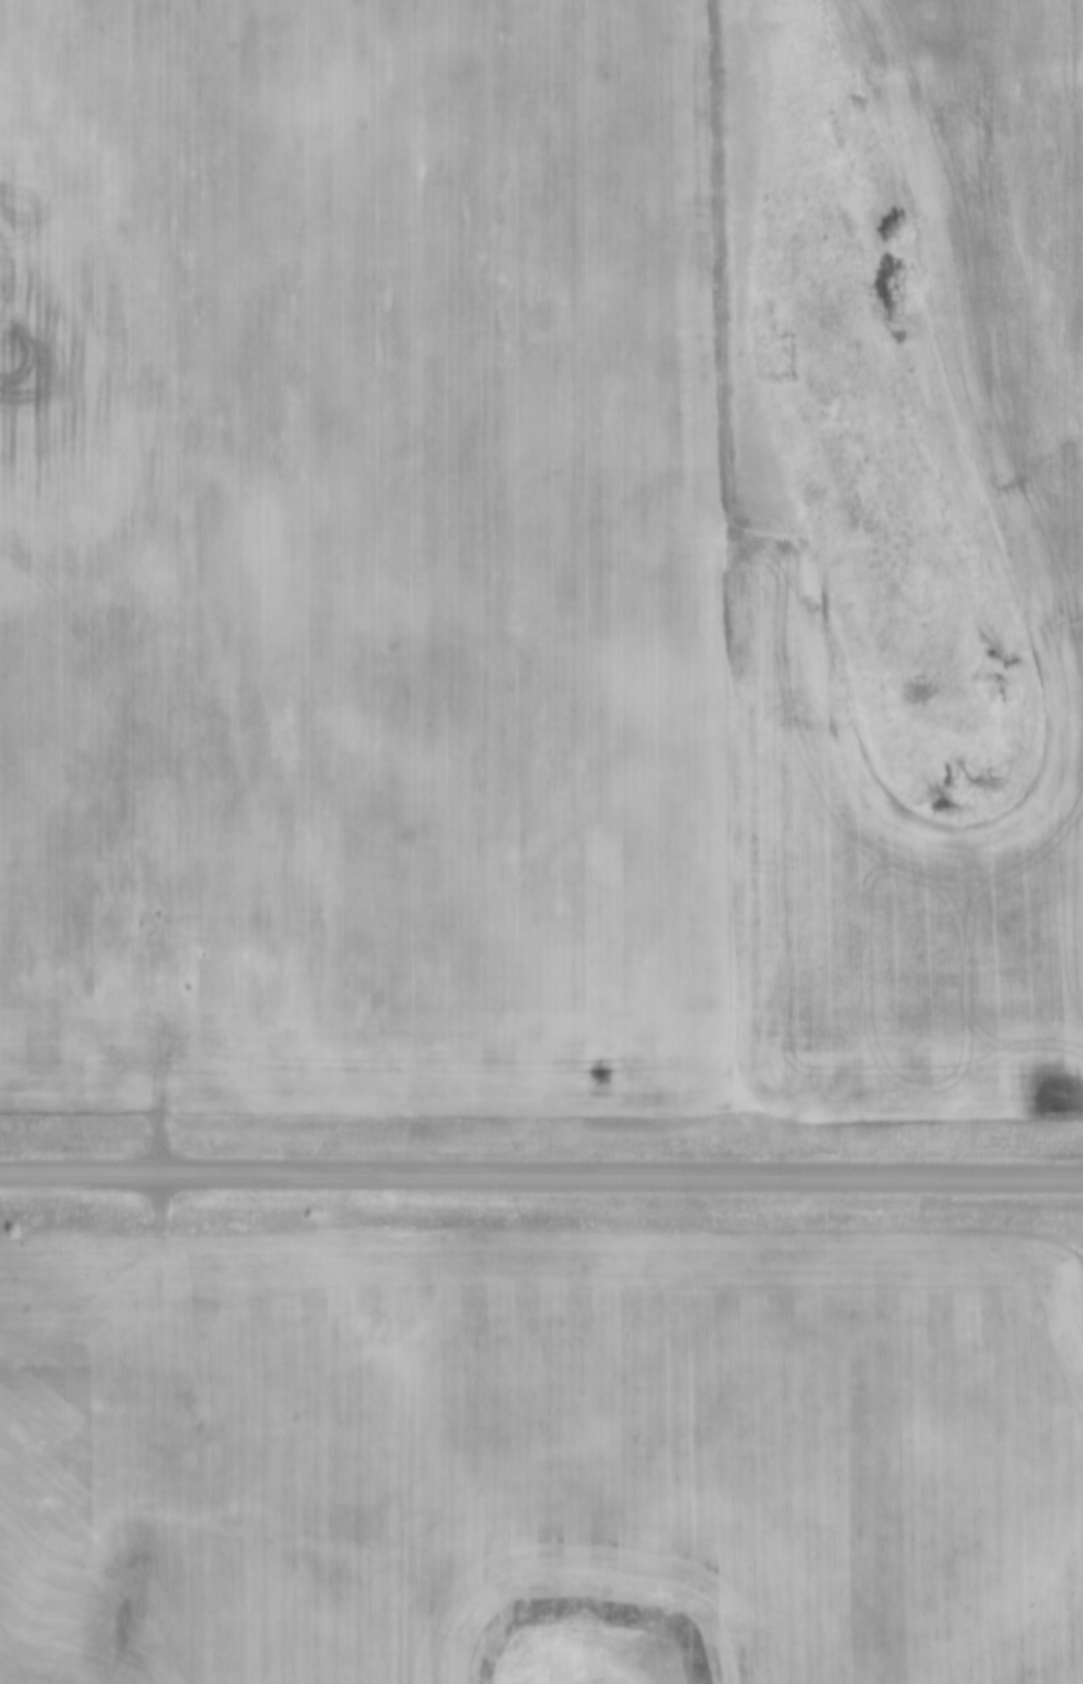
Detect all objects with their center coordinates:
road: (541, 1164)

